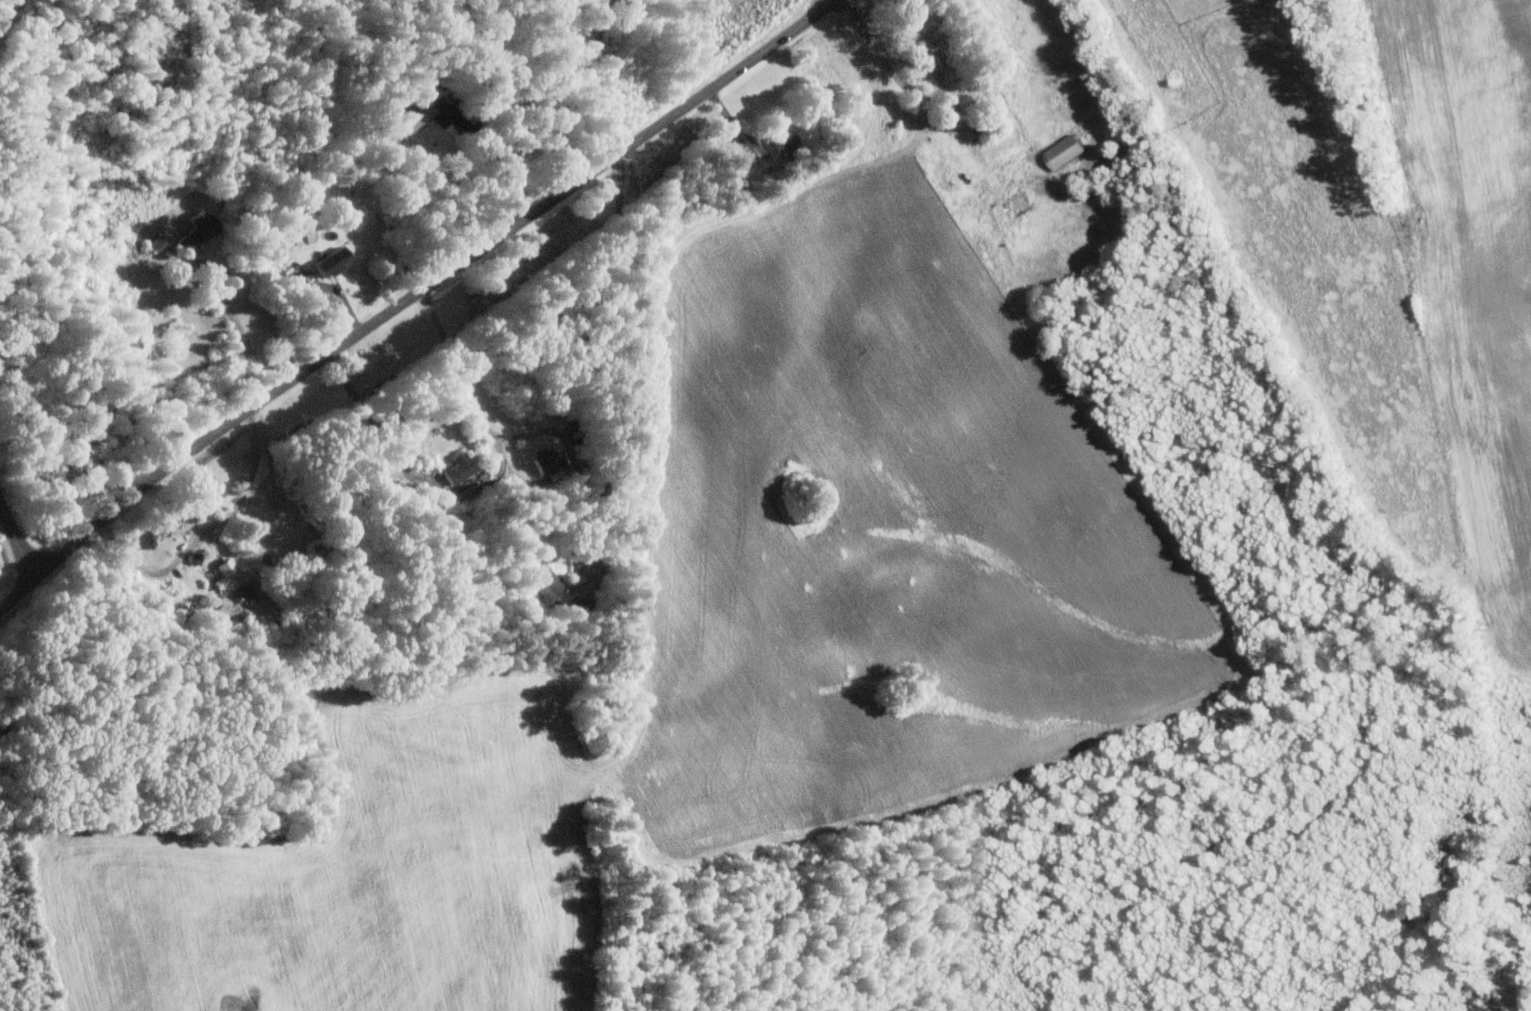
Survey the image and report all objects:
road: (911, 97)
building: (416, 114)
building: (789, 139)
road: (487, 150)
building: (1058, 151)
building: (200, 232)
building: (160, 243)
building: (335, 261)
road: (225, 295)
road: (413, 299)
road: (608, 366)
road: (572, 451)
building: (551, 460)
building: (462, 467)
road: (585, 485)
road: (485, 486)
road: (18, 538)
road: (226, 540)
building: (230, 575)
building: (556, 585)

